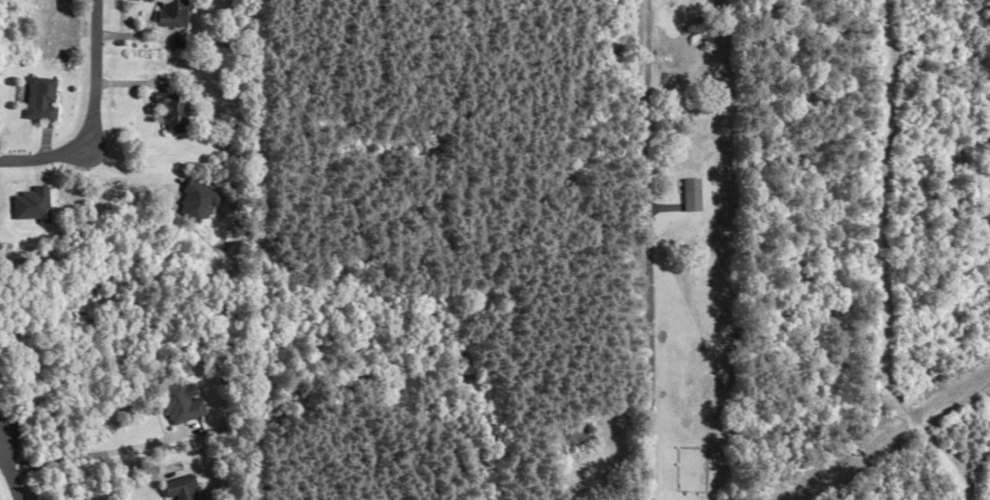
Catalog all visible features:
building: (168, 14)
road: (646, 30)
building: (46, 99)
building: (170, 112)
road: (93, 116)
road: (123, 171)
building: (693, 195)
road: (649, 266)
building: (180, 403)
building: (582, 437)
road: (12, 469)
road: (107, 485)
building: (180, 489)

